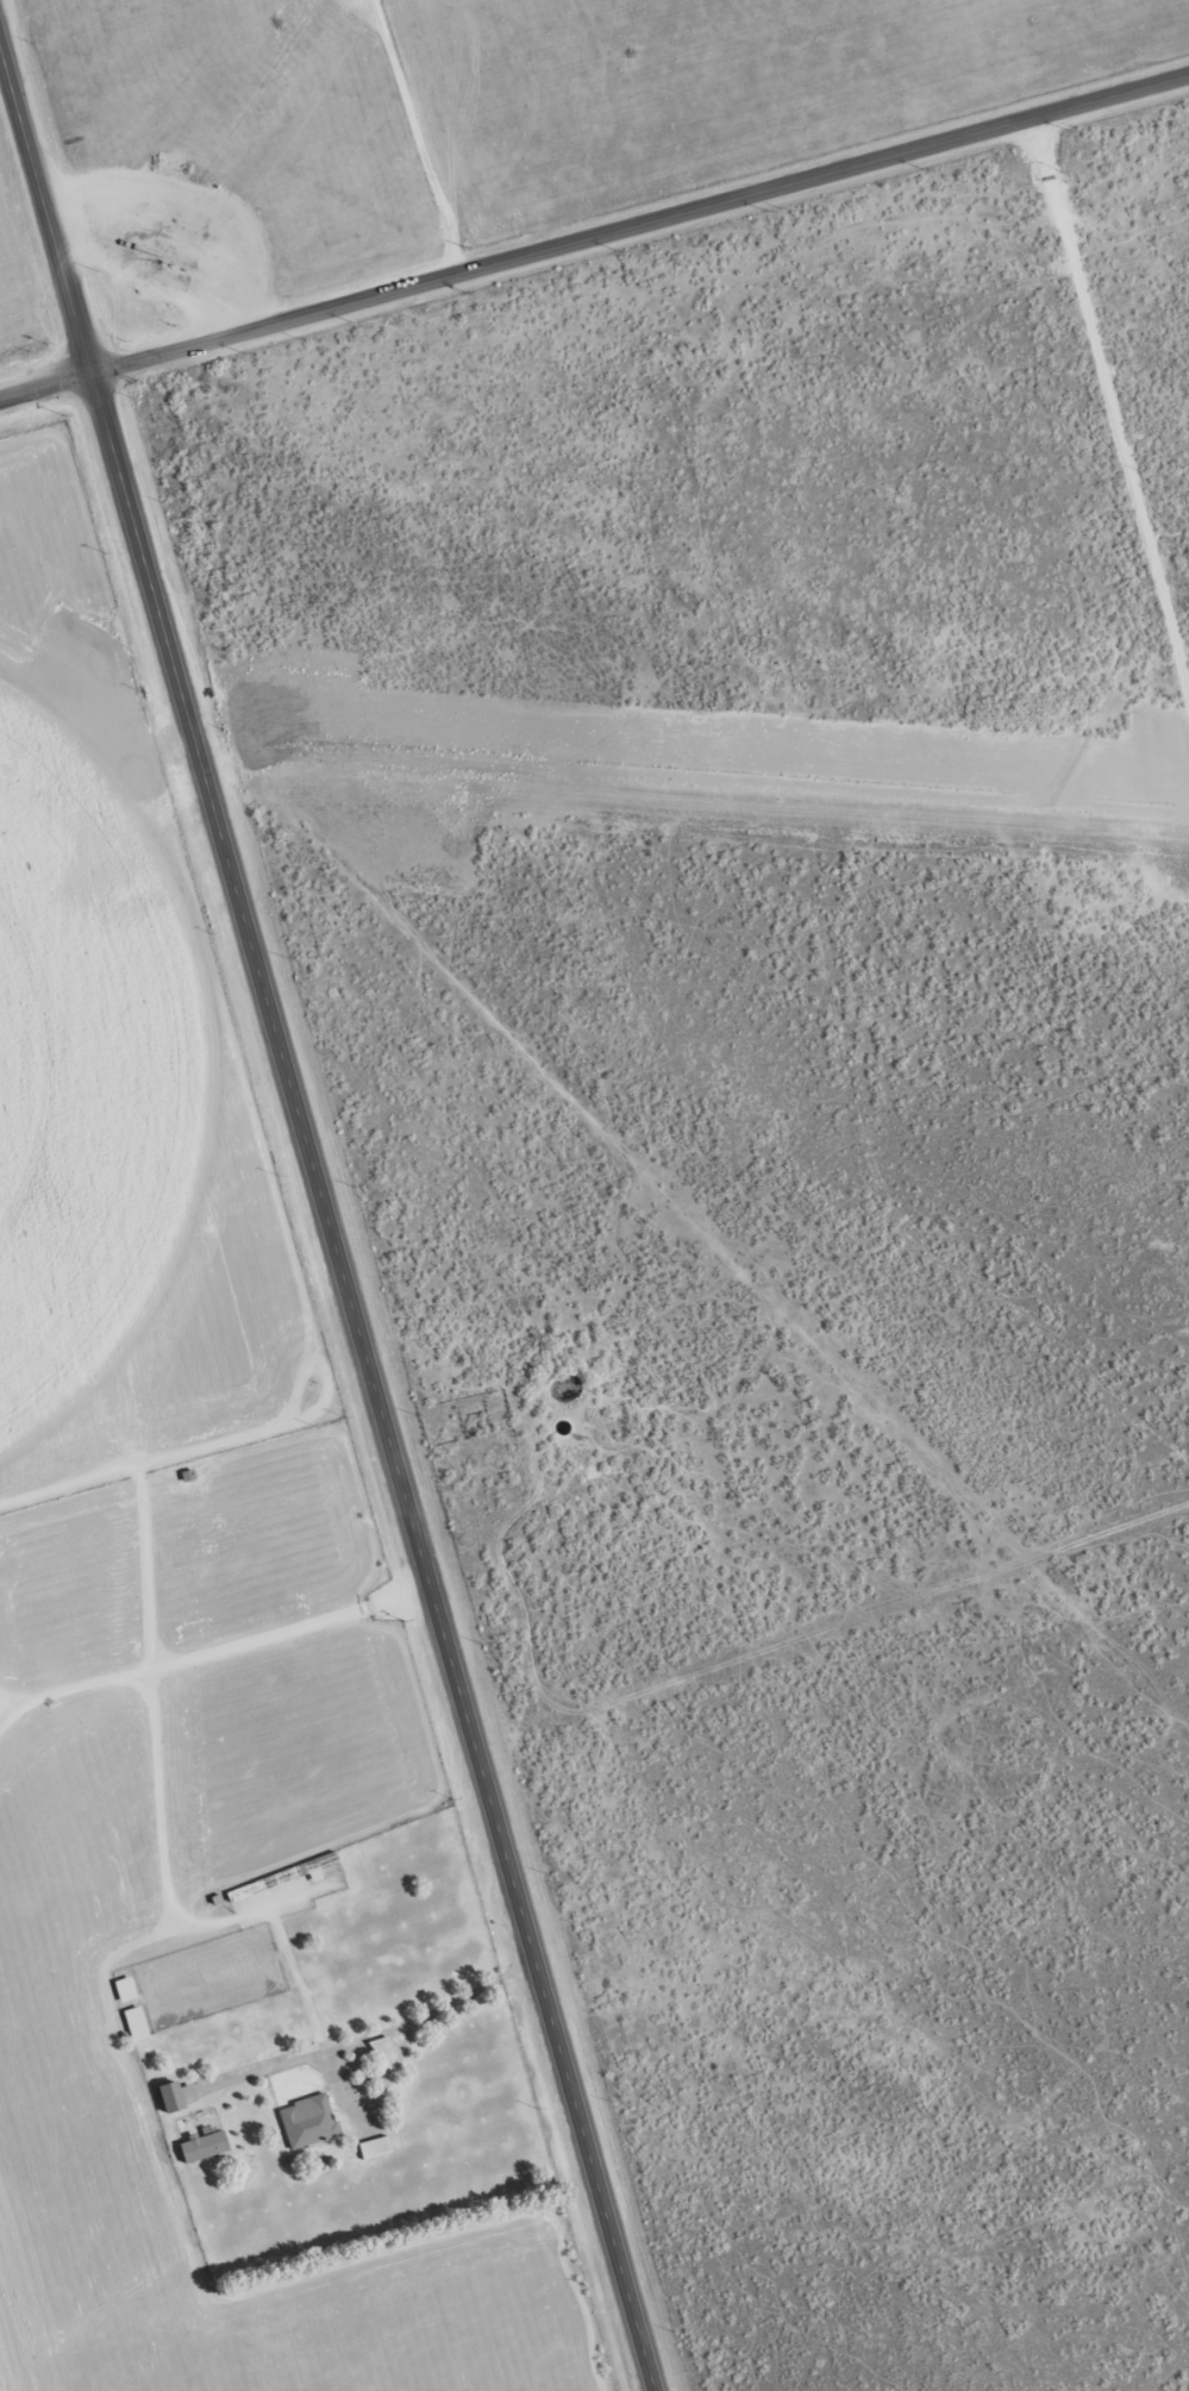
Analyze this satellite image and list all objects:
crop: (461, 136)
road: (421, 140)
road: (594, 244)
road: (1114, 399)
road: (327, 1221)
building: (126, 1991)
building: (173, 2099)
building: (206, 2148)

